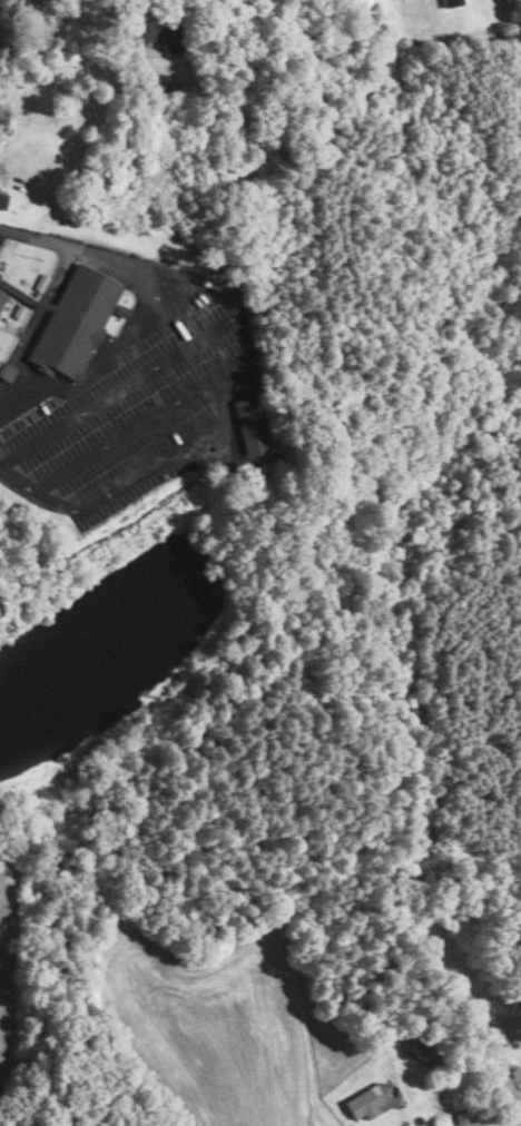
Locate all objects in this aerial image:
building: (452, 2)
building: (156, 32)
building: (150, 82)
building: (3, 200)
building: (42, 283)
building: (2, 288)
building: (2, 298)
building: (19, 312)
building: (121, 312)
building: (75, 323)
road: (250, 367)
building: (7, 371)
road: (119, 391)
building: (249, 426)
building: (278, 457)
building: (269, 478)
building: (419, 1051)
building: (515, 1071)
building: (367, 1100)
building: (461, 1117)

